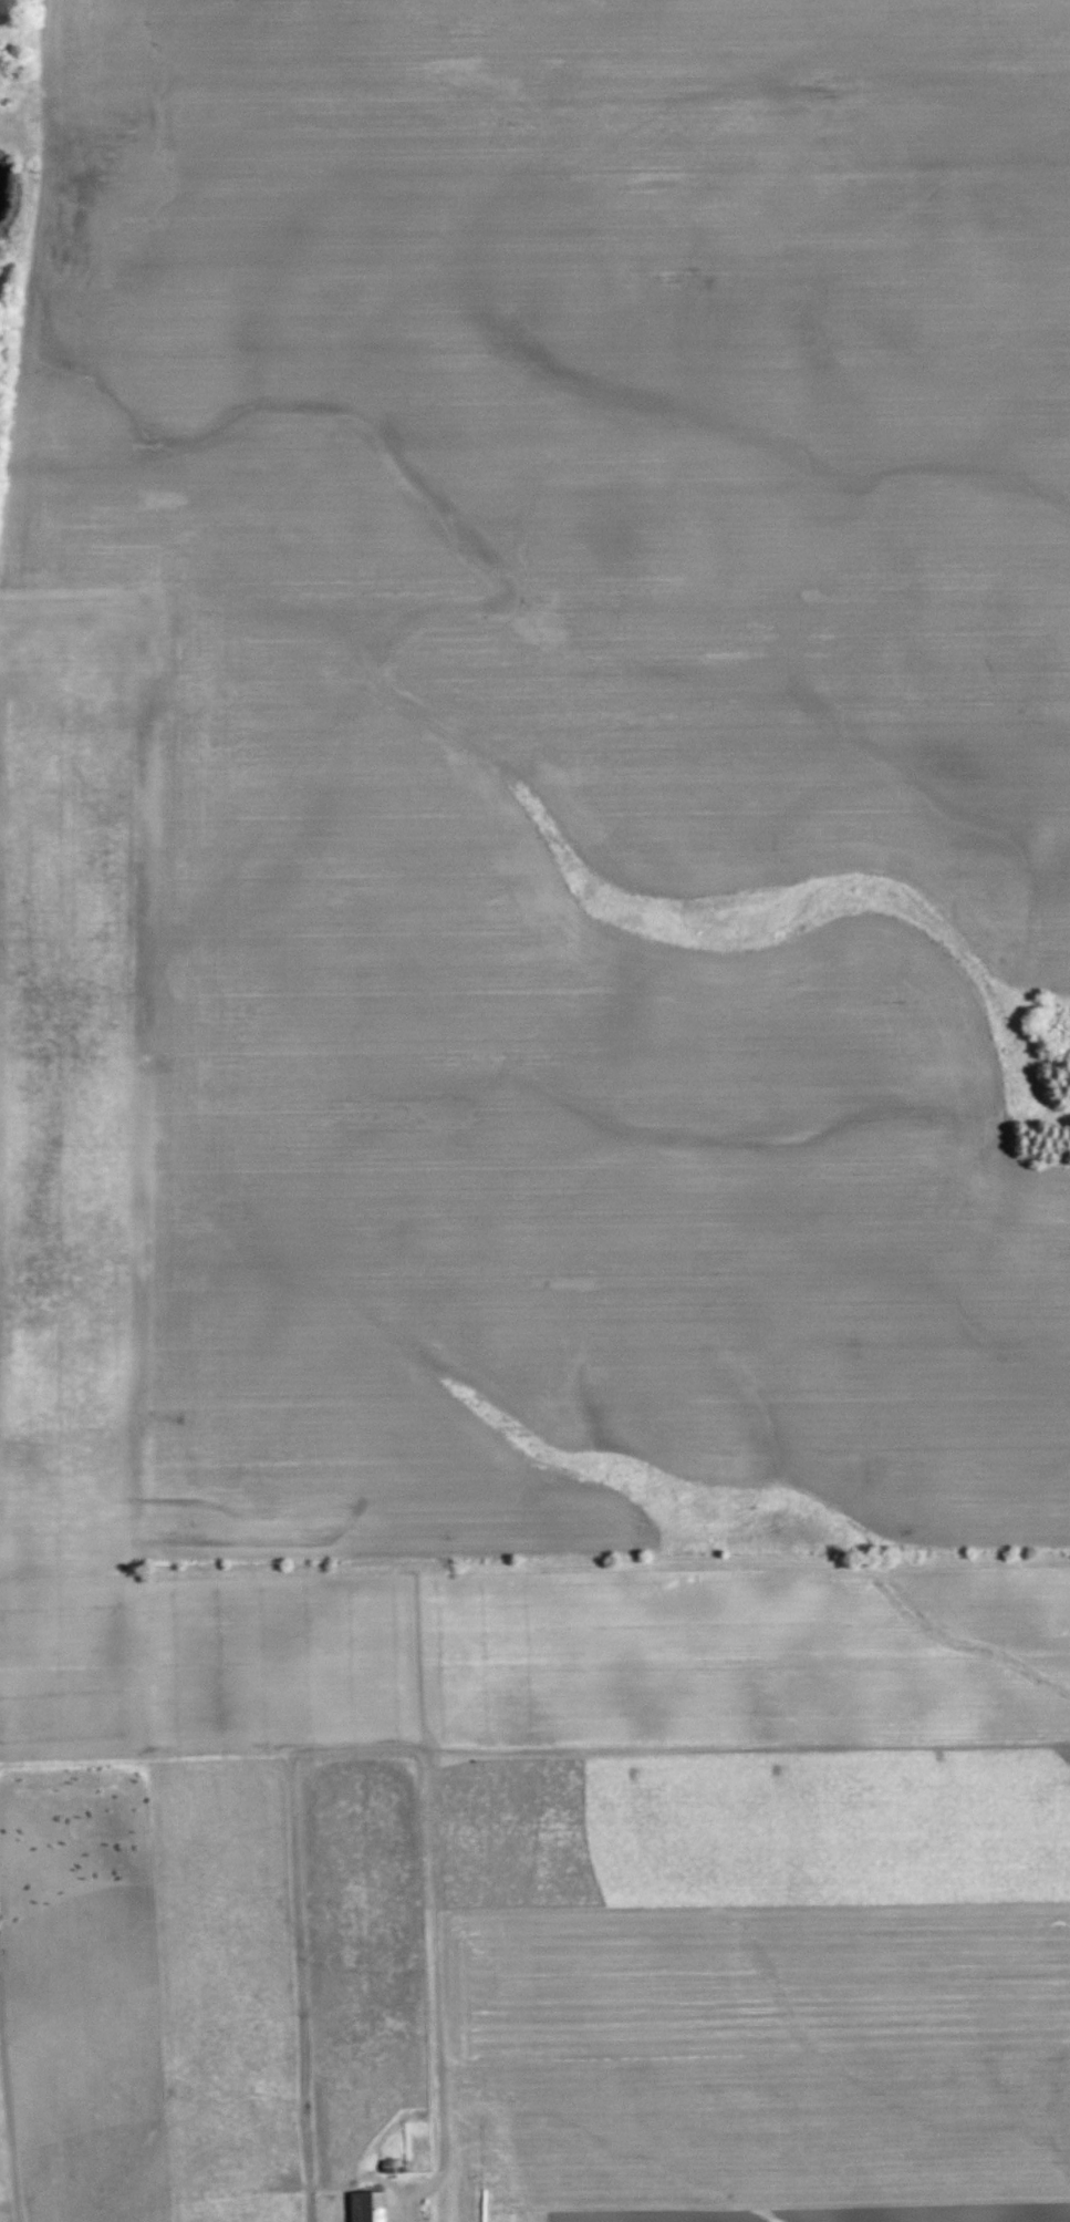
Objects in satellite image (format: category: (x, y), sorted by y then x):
building: (371, 2207)
road: (402, 2218)

